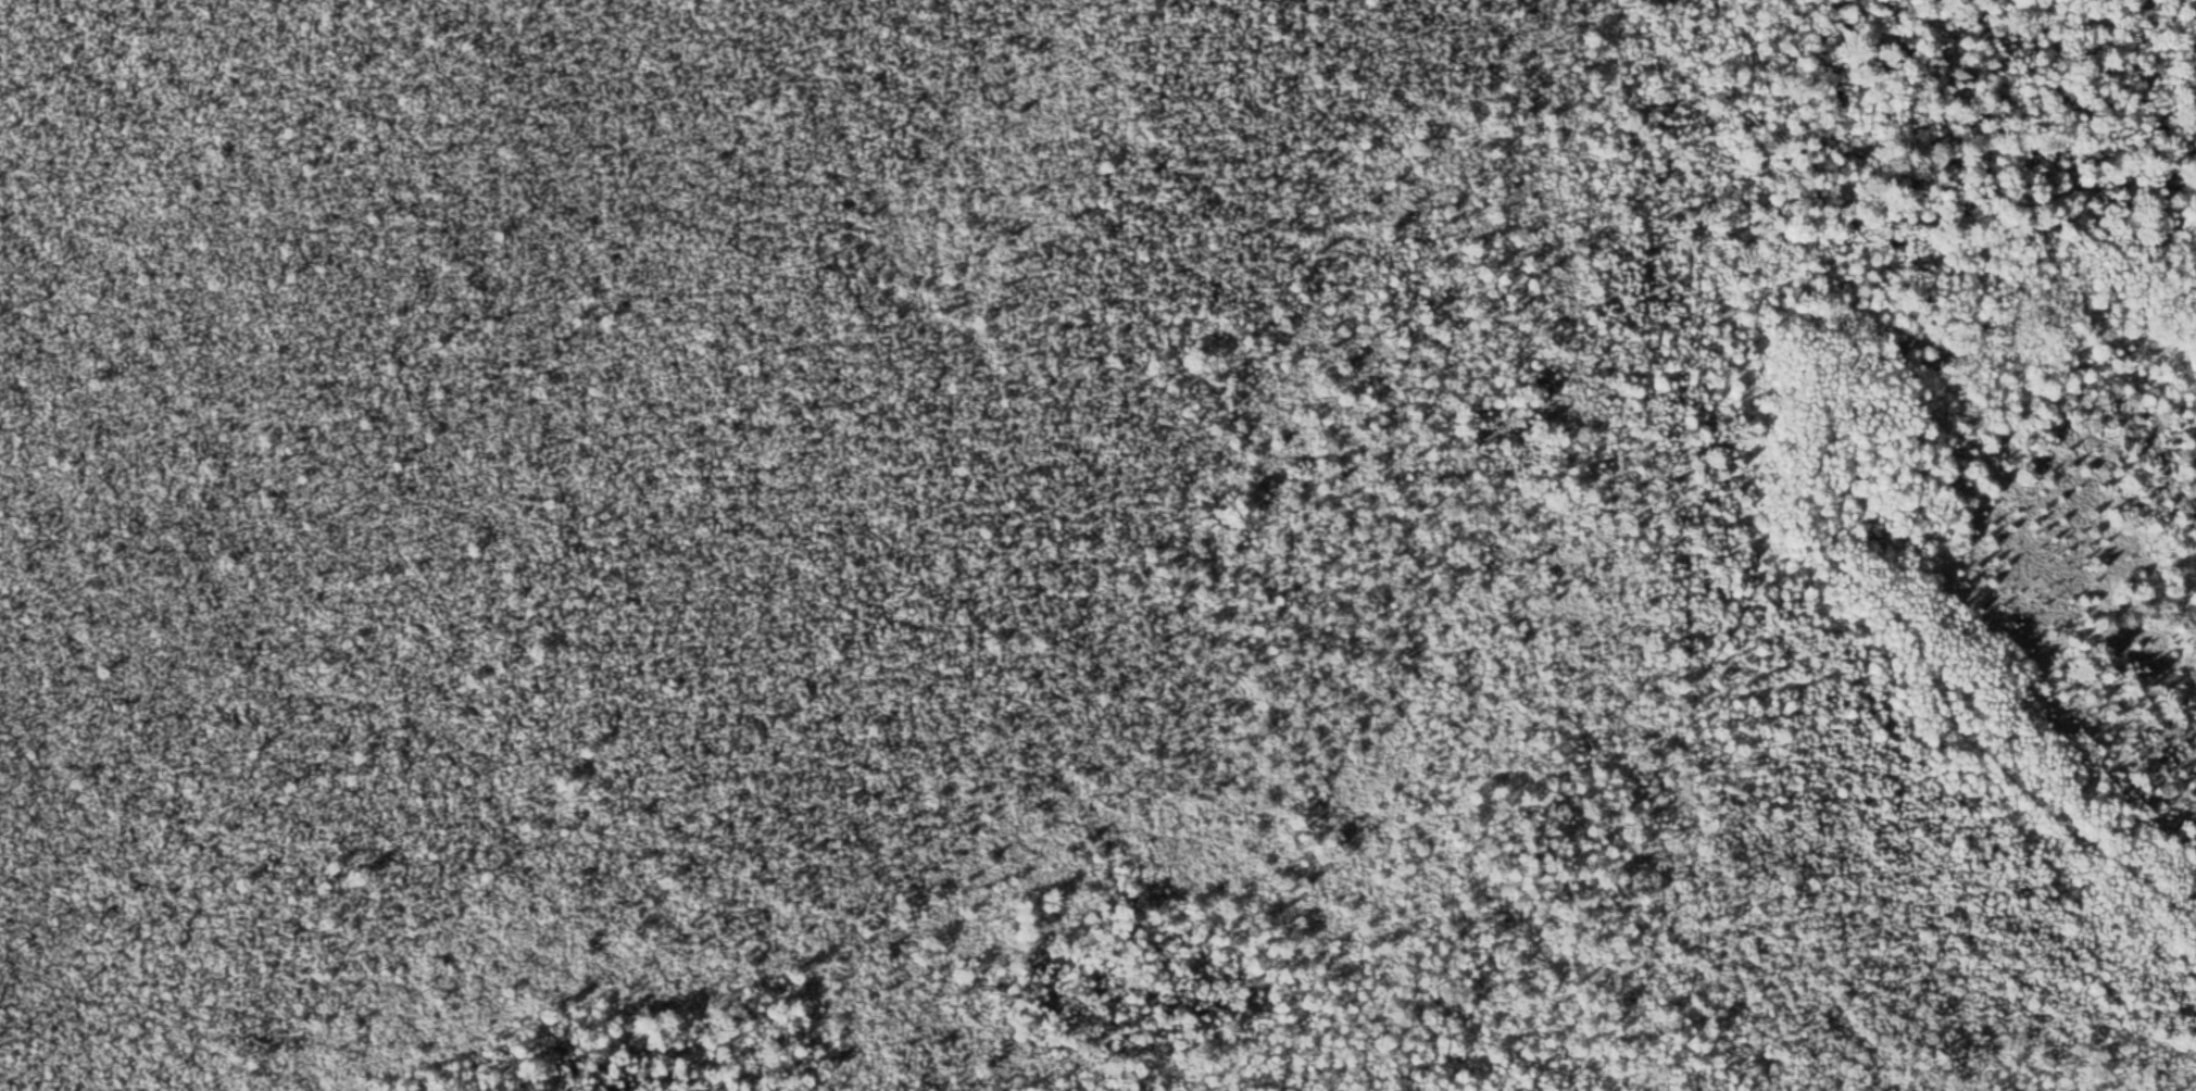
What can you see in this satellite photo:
road: (1827, 492)
road: (2159, 1039)

